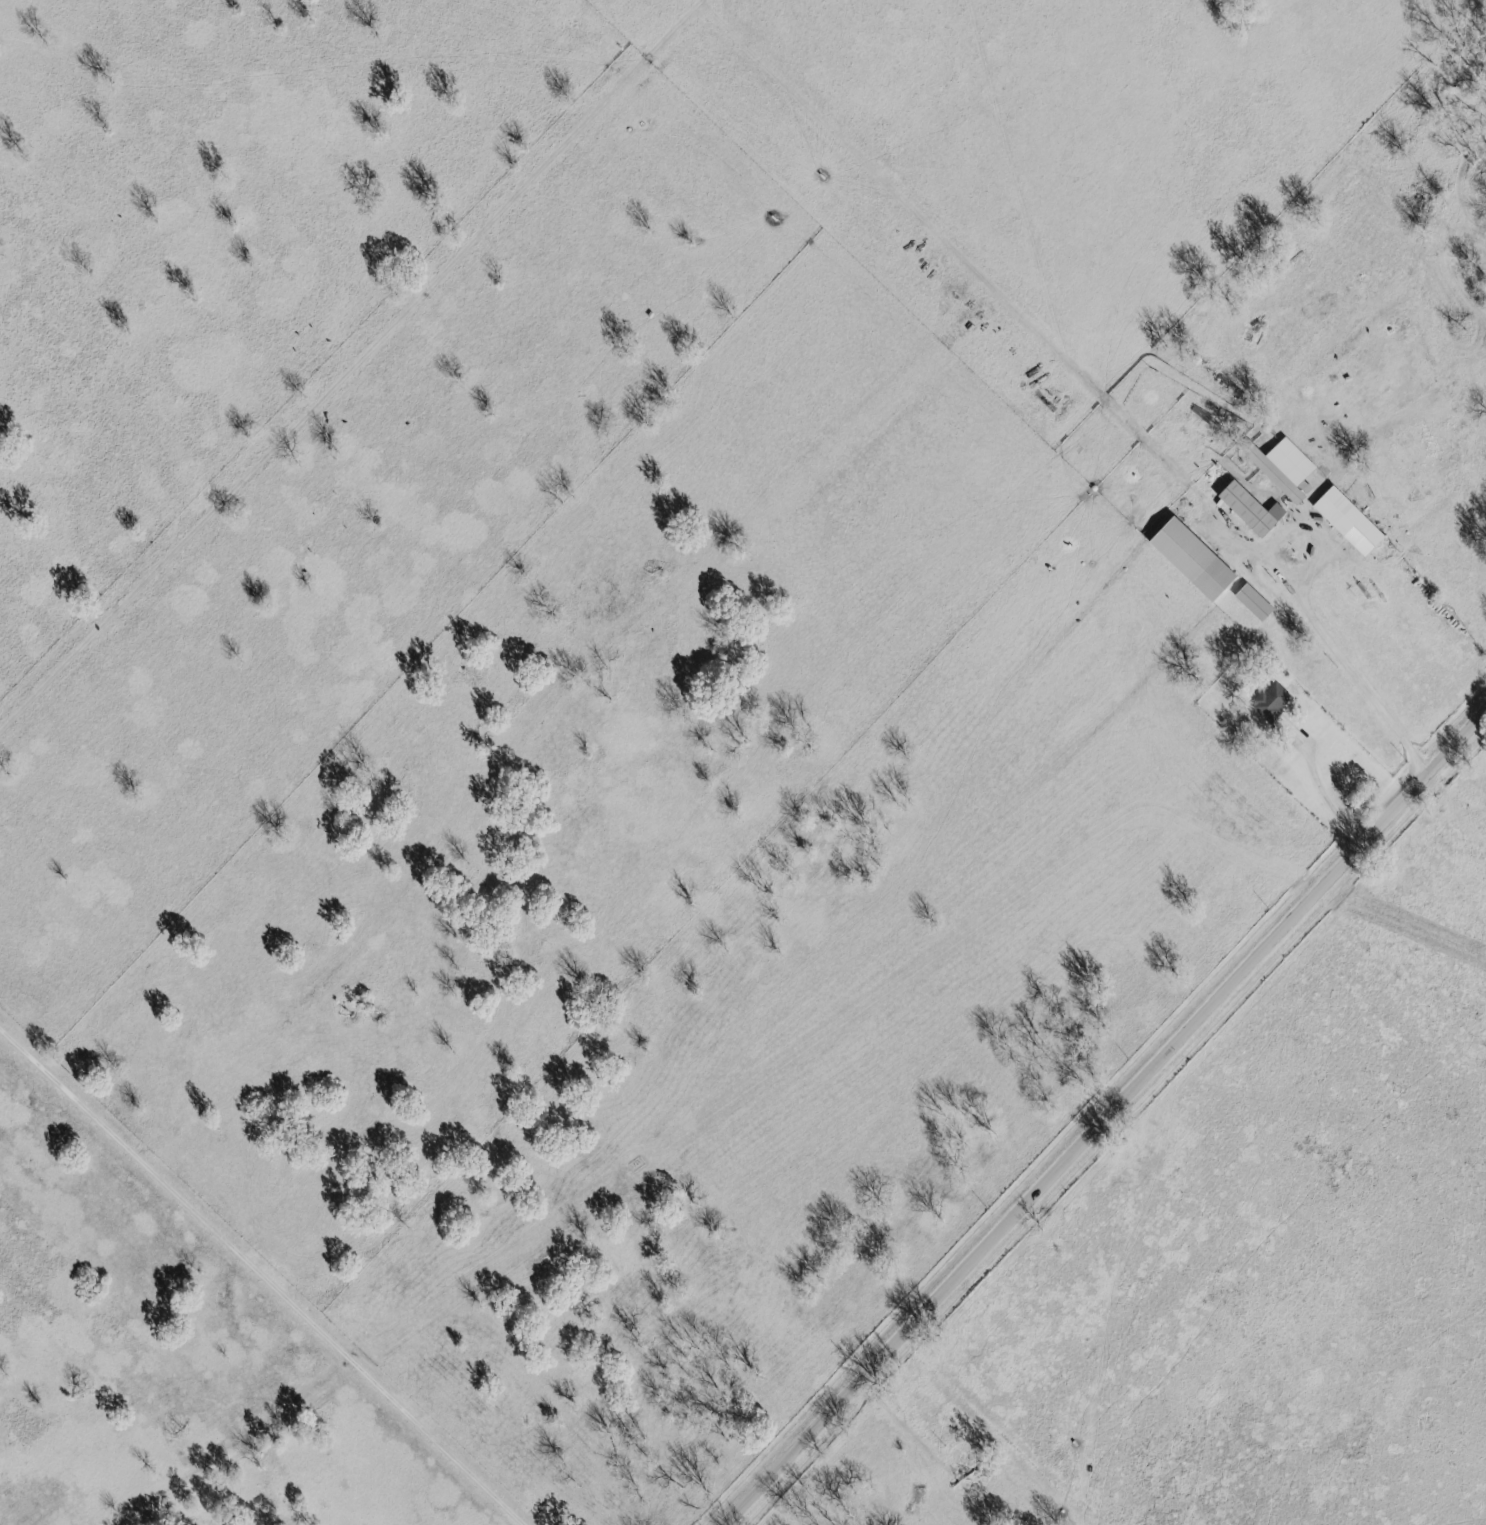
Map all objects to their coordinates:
road: (359, 367)
building: (1278, 467)
building: (1247, 509)
building: (1345, 521)
building: (1188, 559)
building: (1251, 603)
road: (1323, 629)
building: (1268, 702)
road: (1110, 1118)
road: (265, 1273)

